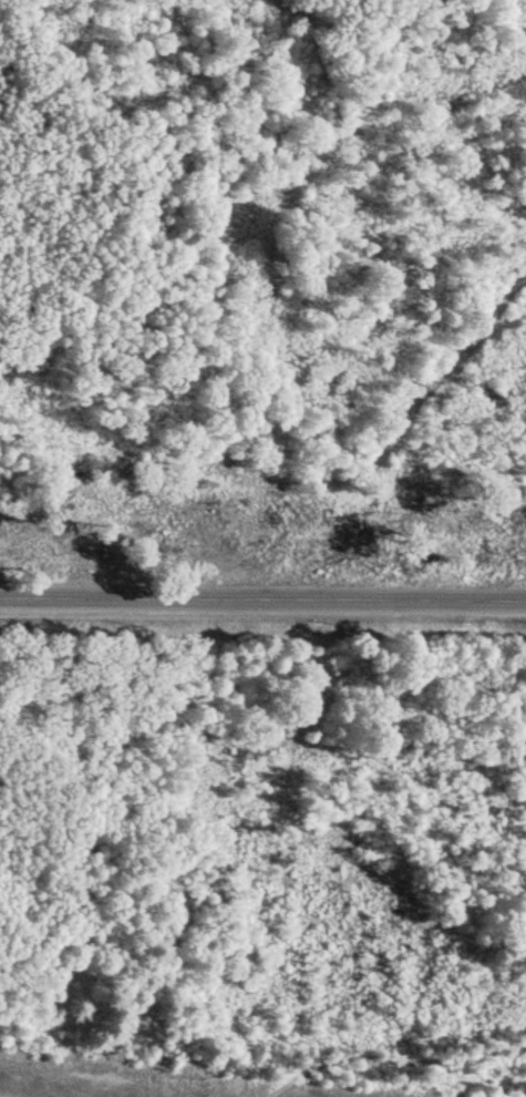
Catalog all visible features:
road: (262, 598)
road: (275, 1088)

